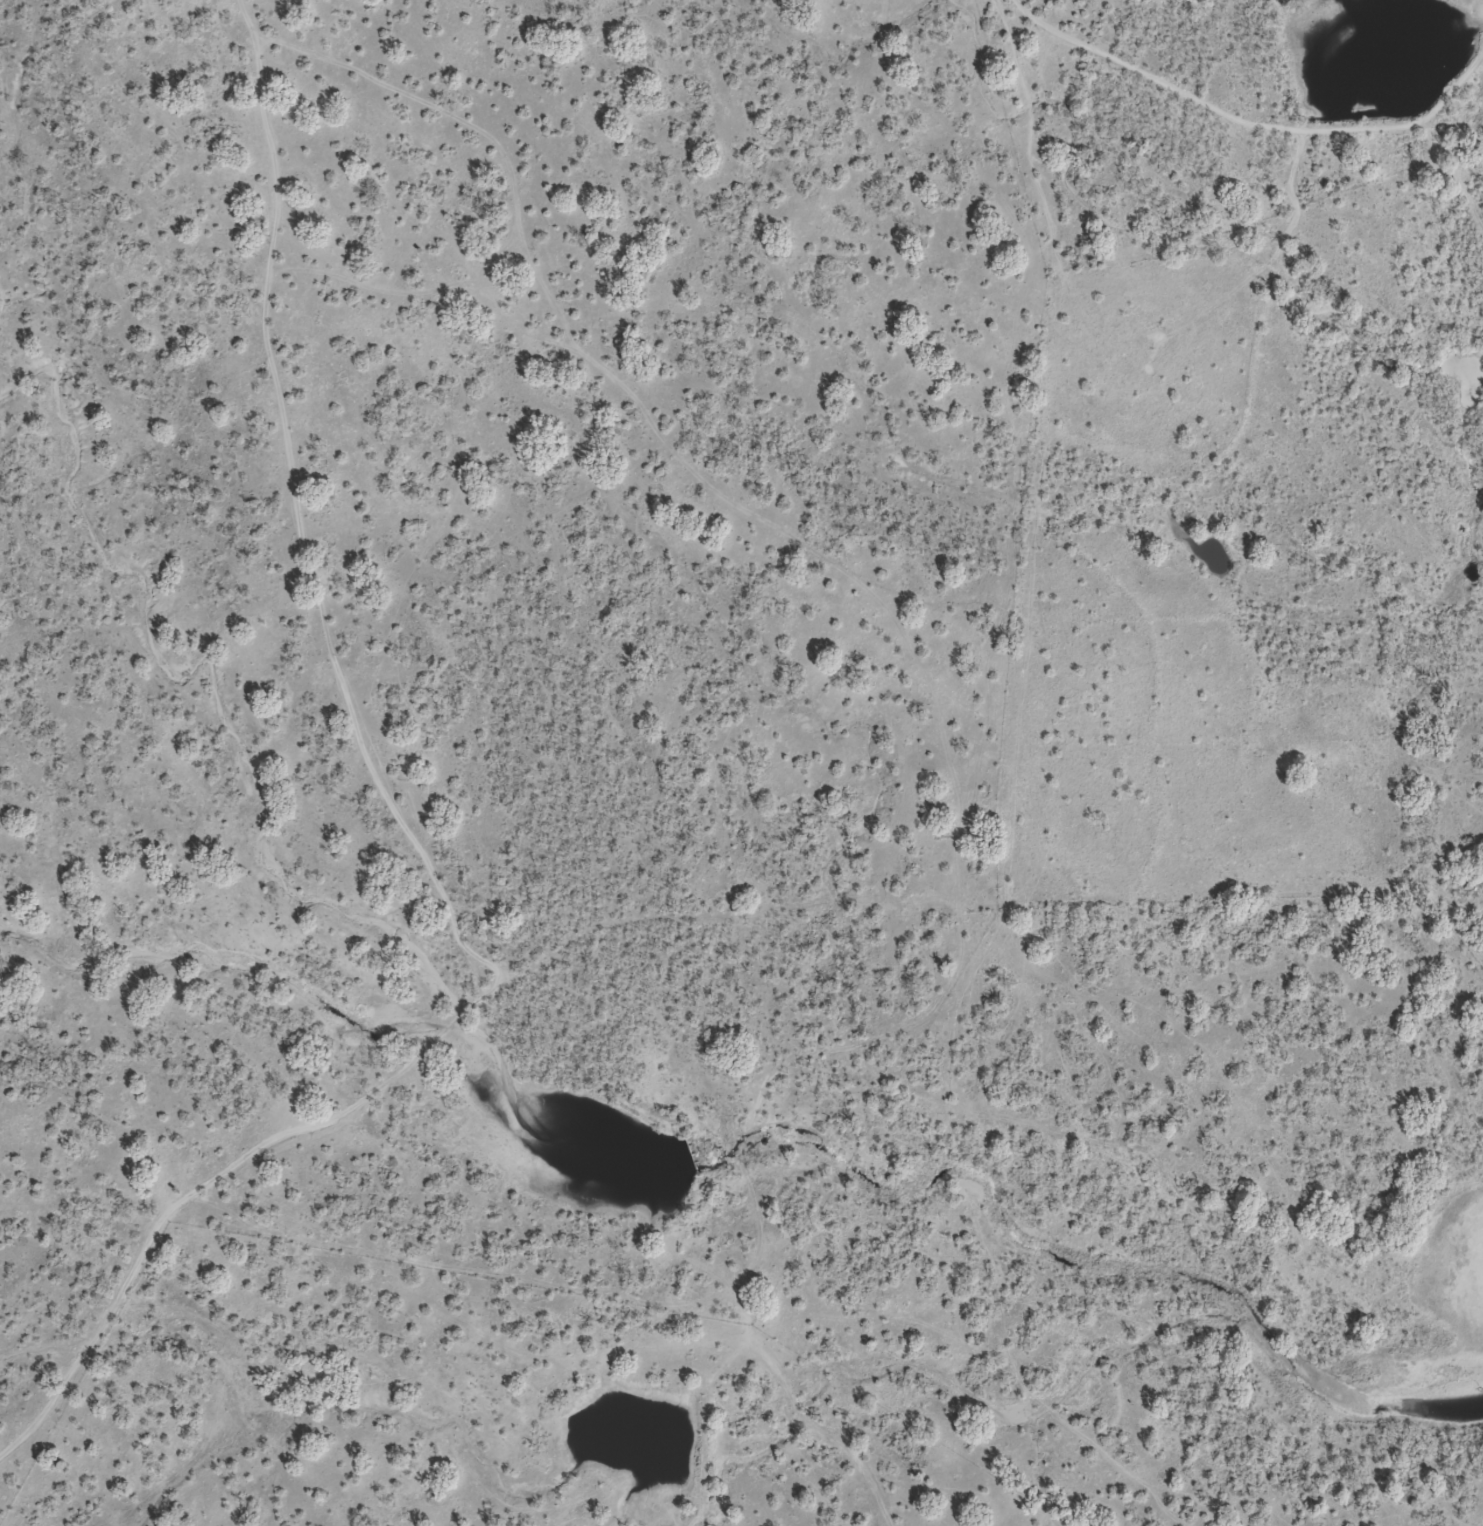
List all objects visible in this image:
road: (1237, 115)

